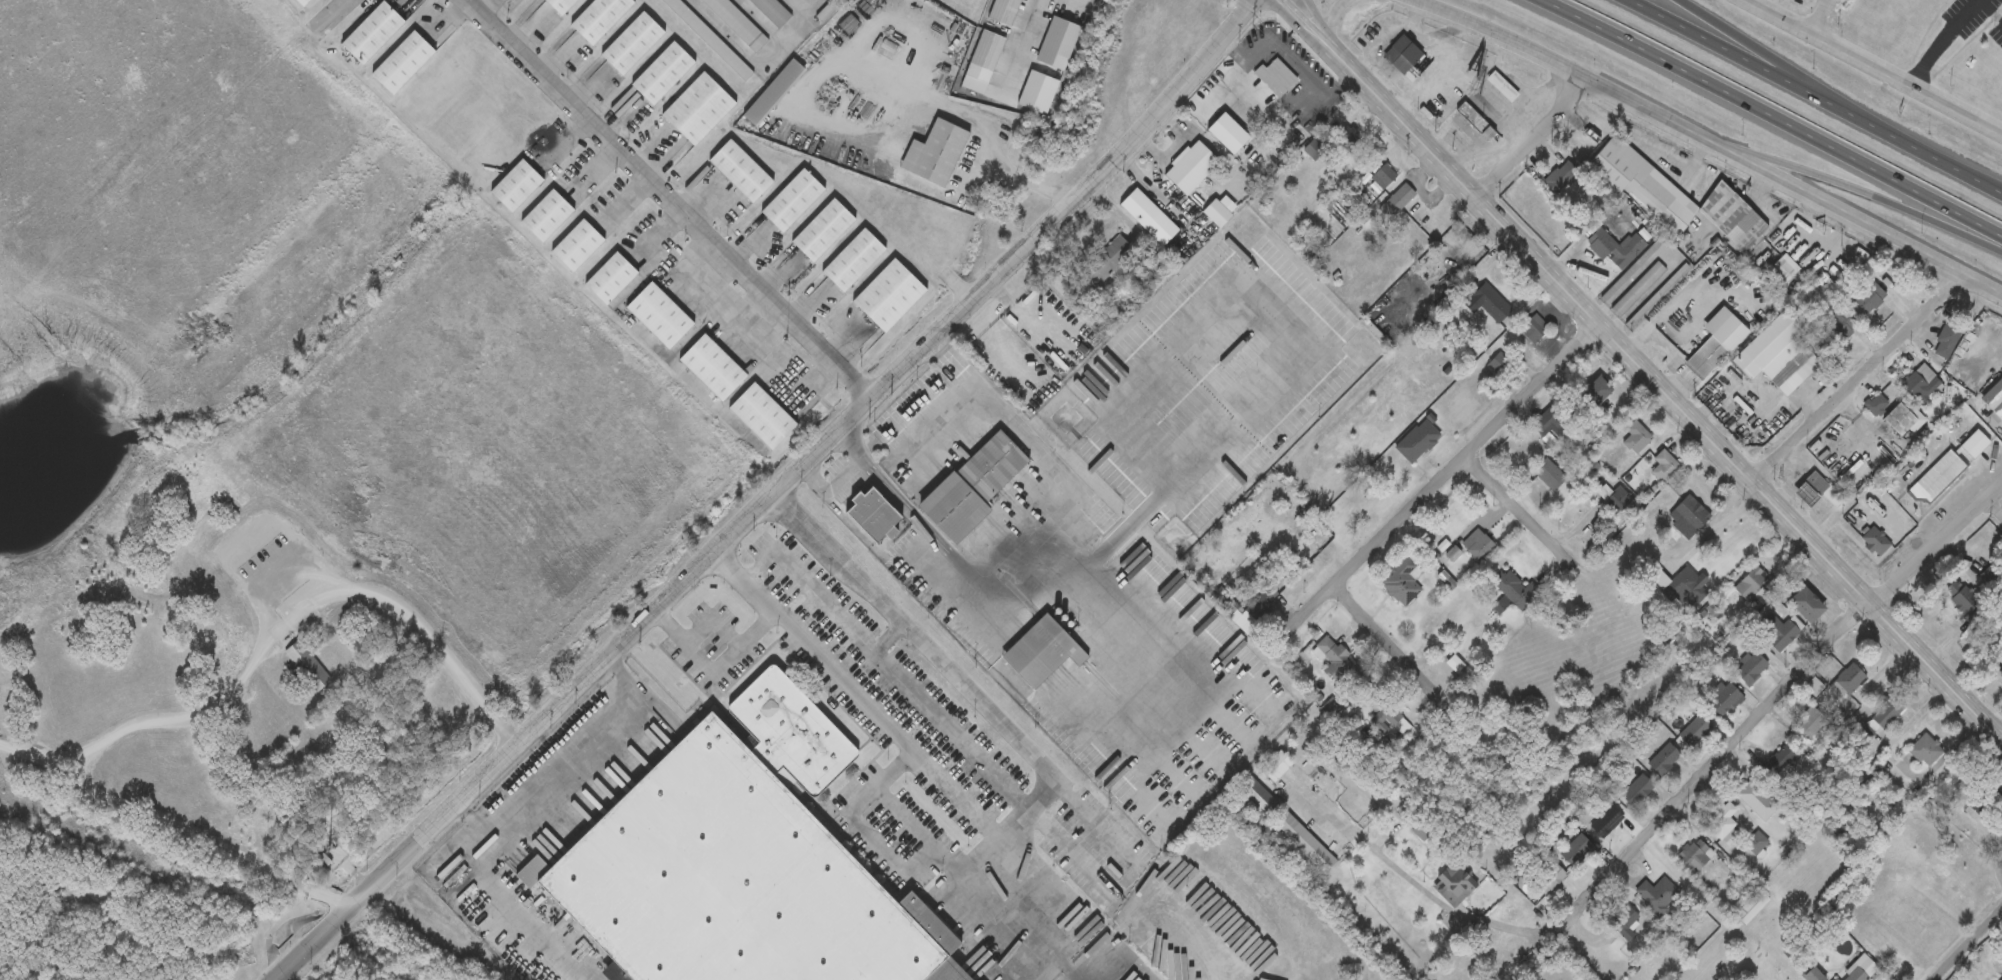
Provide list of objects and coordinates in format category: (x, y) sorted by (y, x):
road: (1753, 2)
building: (302, 3)
building: (560, 6)
road: (1991, 10)
building: (827, 11)
building: (1004, 11)
road: (337, 12)
building: (773, 12)
road: (1822, 17)
building: (599, 19)
road: (1330, 22)
building: (737, 23)
road: (1298, 25)
road: (1307, 25)
road: (1315, 25)
building: (371, 34)
building: (709, 39)
road: (1941, 41)
road: (1014, 42)
building: (632, 44)
building: (987, 51)
building: (1402, 55)
road: (1294, 59)
building: (401, 63)
road: (759, 64)
road: (1872, 66)
road: (1757, 67)
road: (1784, 68)
road: (1570, 70)
building: (663, 74)
building: (1276, 79)
building: (1502, 87)
building: (772, 93)
building: (698, 109)
building: (1468, 114)
road: (1770, 116)
road: (987, 130)
building: (1348, 138)
road: (1535, 140)
building: (935, 153)
road: (1946, 163)
building: (1191, 169)
building: (740, 171)
building: (1561, 176)
building: (1384, 177)
building: (516, 187)
building: (1667, 193)
road: (1861, 198)
road: (665, 201)
building: (792, 201)
building: (1395, 203)
building: (546, 217)
road: (1861, 222)
building: (822, 231)
building: (576, 247)
building: (1615, 248)
building: (1440, 257)
building: (853, 261)
building: (1106, 262)
building: (1785, 269)
building: (609, 279)
building: (1637, 290)
building: (1610, 292)
building: (1658, 294)
building: (888, 296)
building: (1869, 296)
building: (1491, 303)
road: (1031, 315)
building: (658, 316)
building: (1840, 325)
building: (1534, 329)
building: (1947, 340)
building: (1777, 355)
building: (1707, 358)
building: (1500, 365)
building: (711, 368)
road: (1858, 380)
building: (1914, 383)
building: (1597, 391)
road: (1665, 395)
building: (1994, 399)
building: (1876, 404)
building: (761, 417)
building: (1548, 420)
building: (1636, 438)
building: (1418, 441)
building: (1974, 444)
building: (1665, 468)
road: (1442, 474)
building: (1549, 475)
building: (1937, 478)
building: (972, 487)
building: (1817, 492)
road: (770, 497)
building: (1616, 498)
road: (1995, 507)
road: (1515, 510)
building: (872, 516)
building: (1689, 518)
road: (1713, 528)
building: (1318, 538)
building: (1875, 540)
building: (1480, 547)
road: (1937, 547)
building: (1402, 582)
road: (1011, 586)
building: (1684, 586)
building: (1753, 586)
building: (1513, 593)
road: (819, 598)
road: (277, 601)
building: (1805, 605)
building: (271, 632)
building: (1779, 633)
road: (1379, 635)
building: (297, 644)
building: (1041, 652)
crop: (192, 653)
building: (1333, 657)
road: (943, 659)
road: (711, 665)
building: (1752, 669)
building: (1849, 681)
building: (1814, 687)
road: (854, 696)
building: (1724, 700)
road: (936, 714)
building: (1886, 714)
building: (1396, 721)
building: (1811, 722)
road: (511, 726)
building: (1696, 730)
building: (790, 732)
building: (1925, 751)
building: (1663, 760)
building: (1782, 761)
road: (1712, 762)
building: (1276, 767)
building: (1636, 791)
building: (1748, 793)
building: (1258, 797)
road: (526, 814)
building: (1411, 817)
road: (173, 820)
building: (1606, 823)
building: (1723, 824)
road: (928, 833)
road: (1072, 836)
building: (1304, 842)
building: (1756, 844)
building: (1576, 852)
building: (1695, 855)
building: (1548, 876)
building: (718, 881)
road: (1415, 883)
building: (463, 885)
building: (1450, 887)
building: (1657, 896)
building: (1752, 908)
building: (1624, 924)
road: (1968, 944)
building: (1860, 969)
building: (1836, 979)

